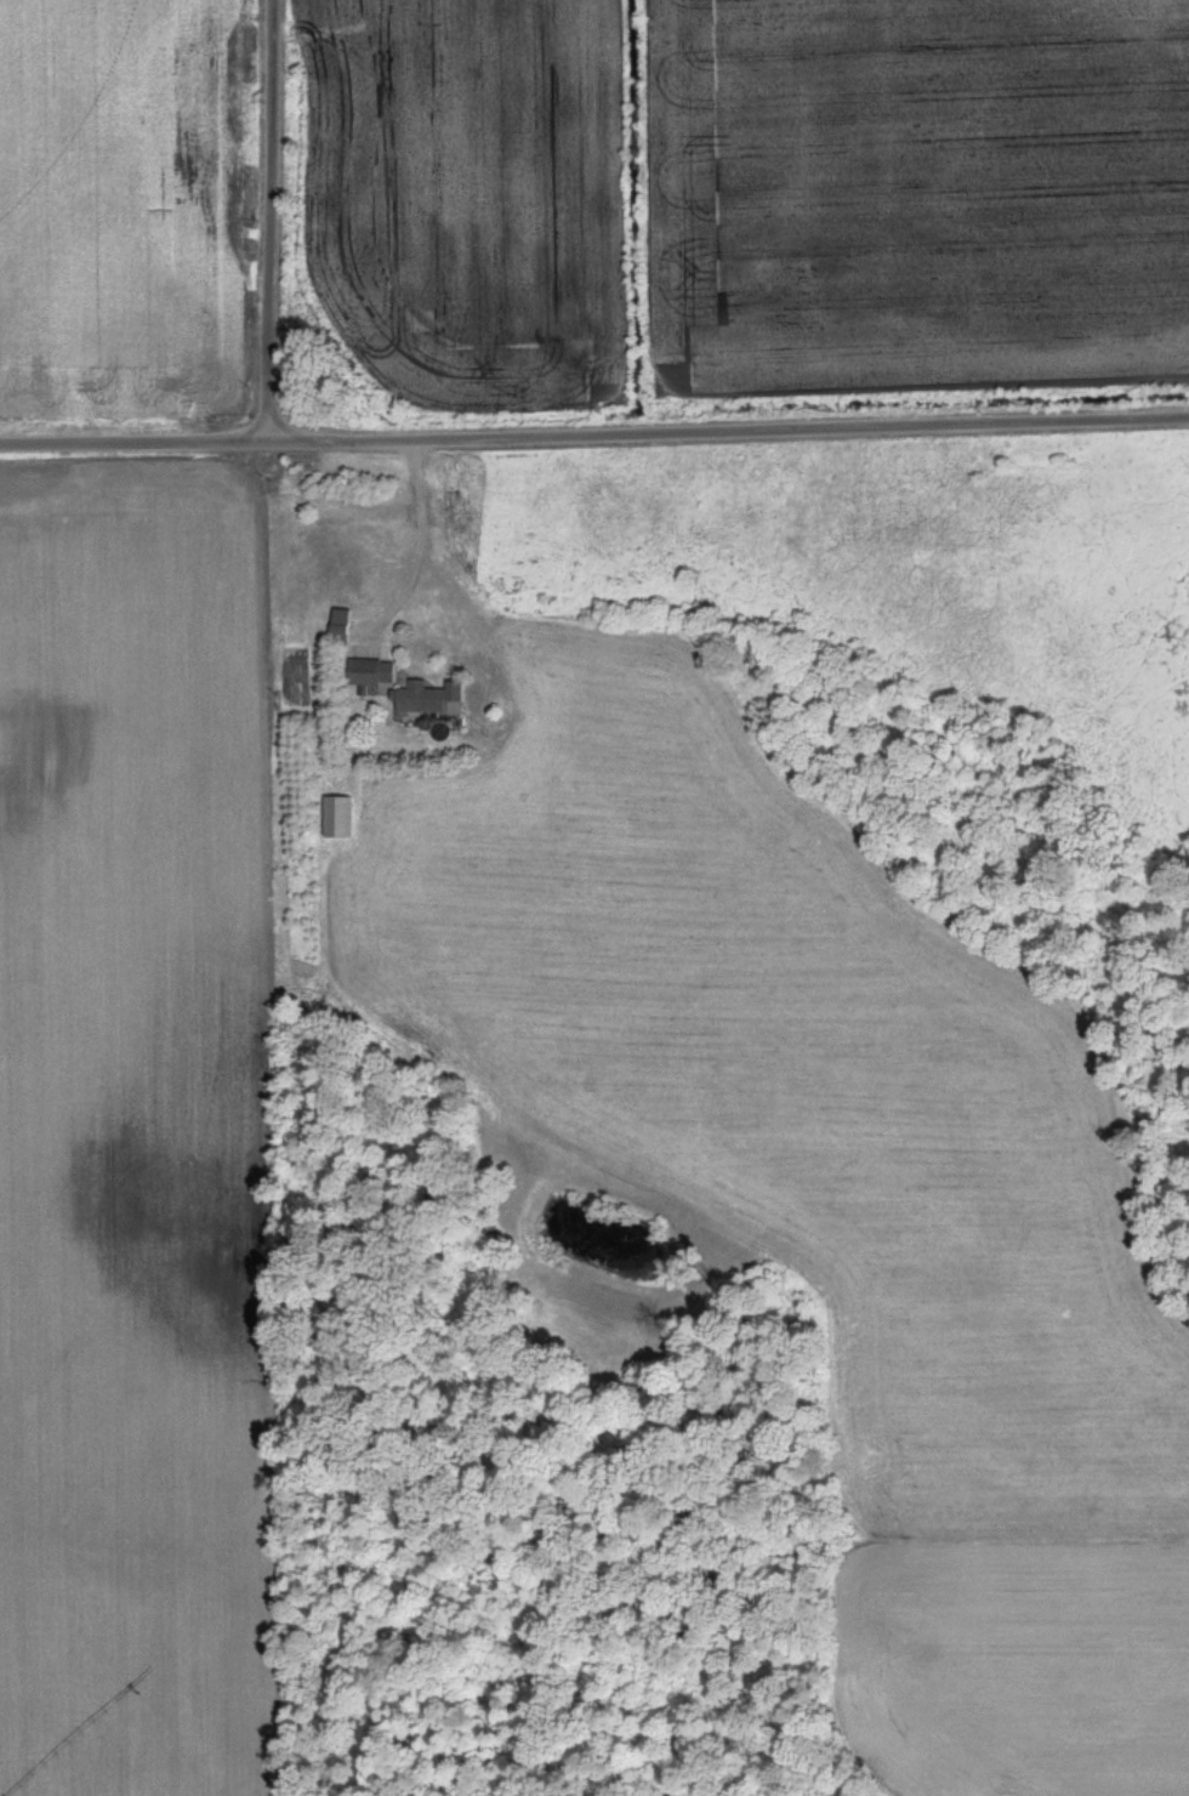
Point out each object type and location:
crop: (921, 195)
crop: (474, 198)
crop: (123, 209)
road: (277, 218)
road: (594, 432)
road: (423, 541)
building: (368, 672)
building: (423, 698)
crop: (138, 1138)
crop: (827, 1178)

